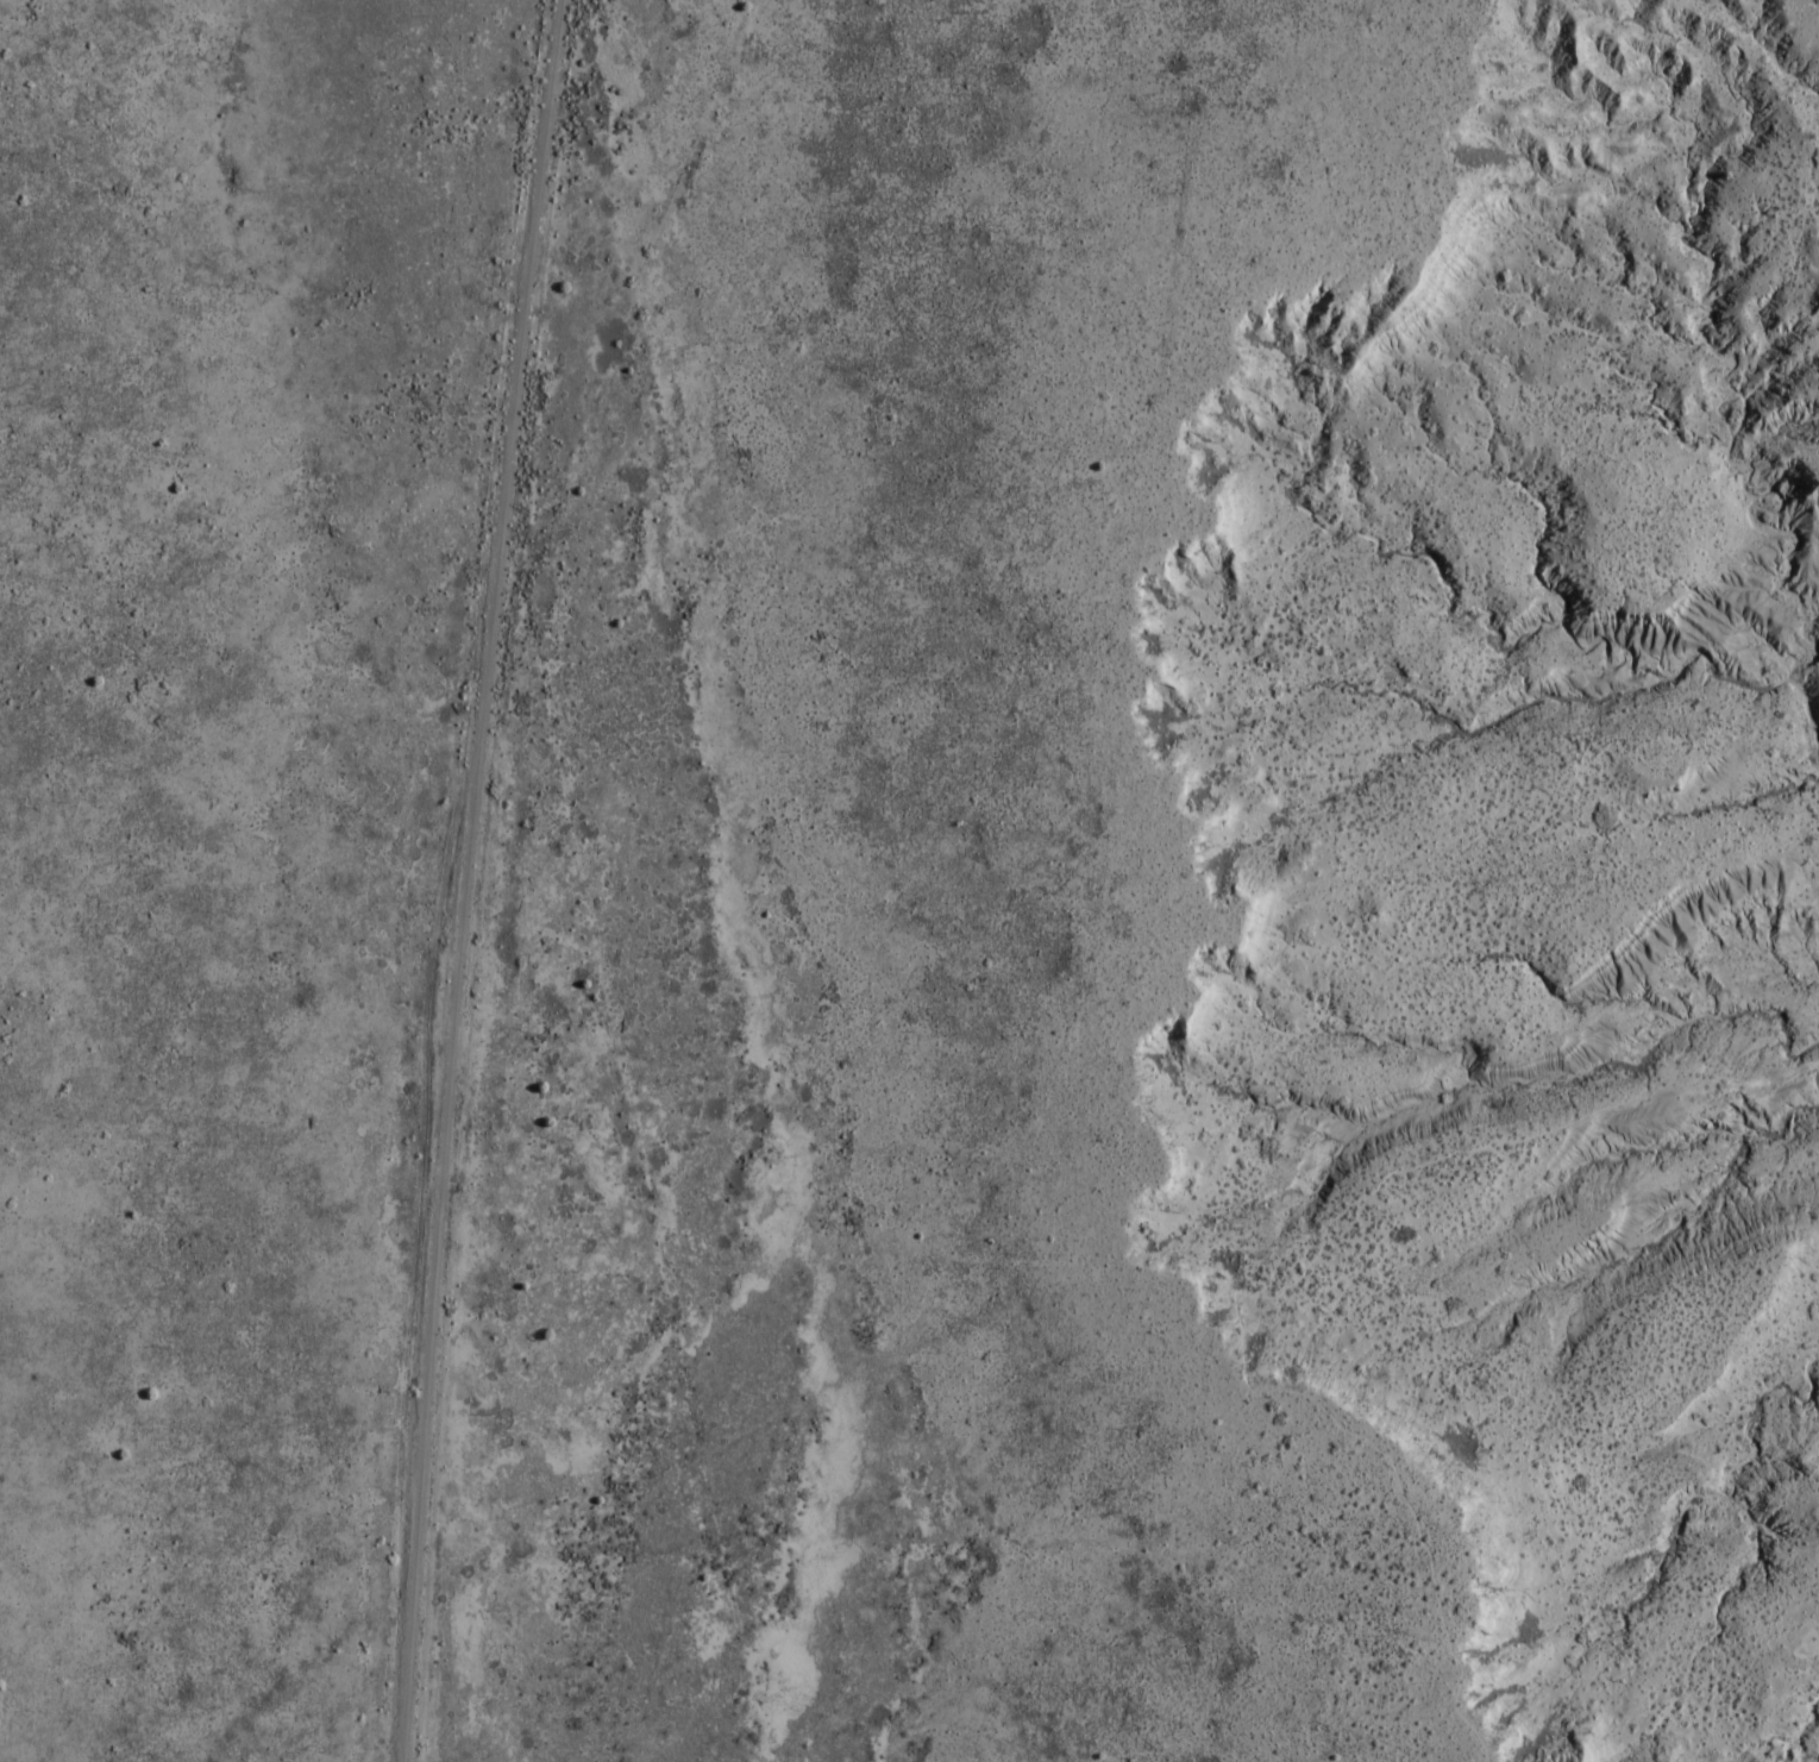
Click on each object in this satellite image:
road: (256, 682)
road: (466, 879)
road: (1492, 1142)
road: (1405, 1498)

